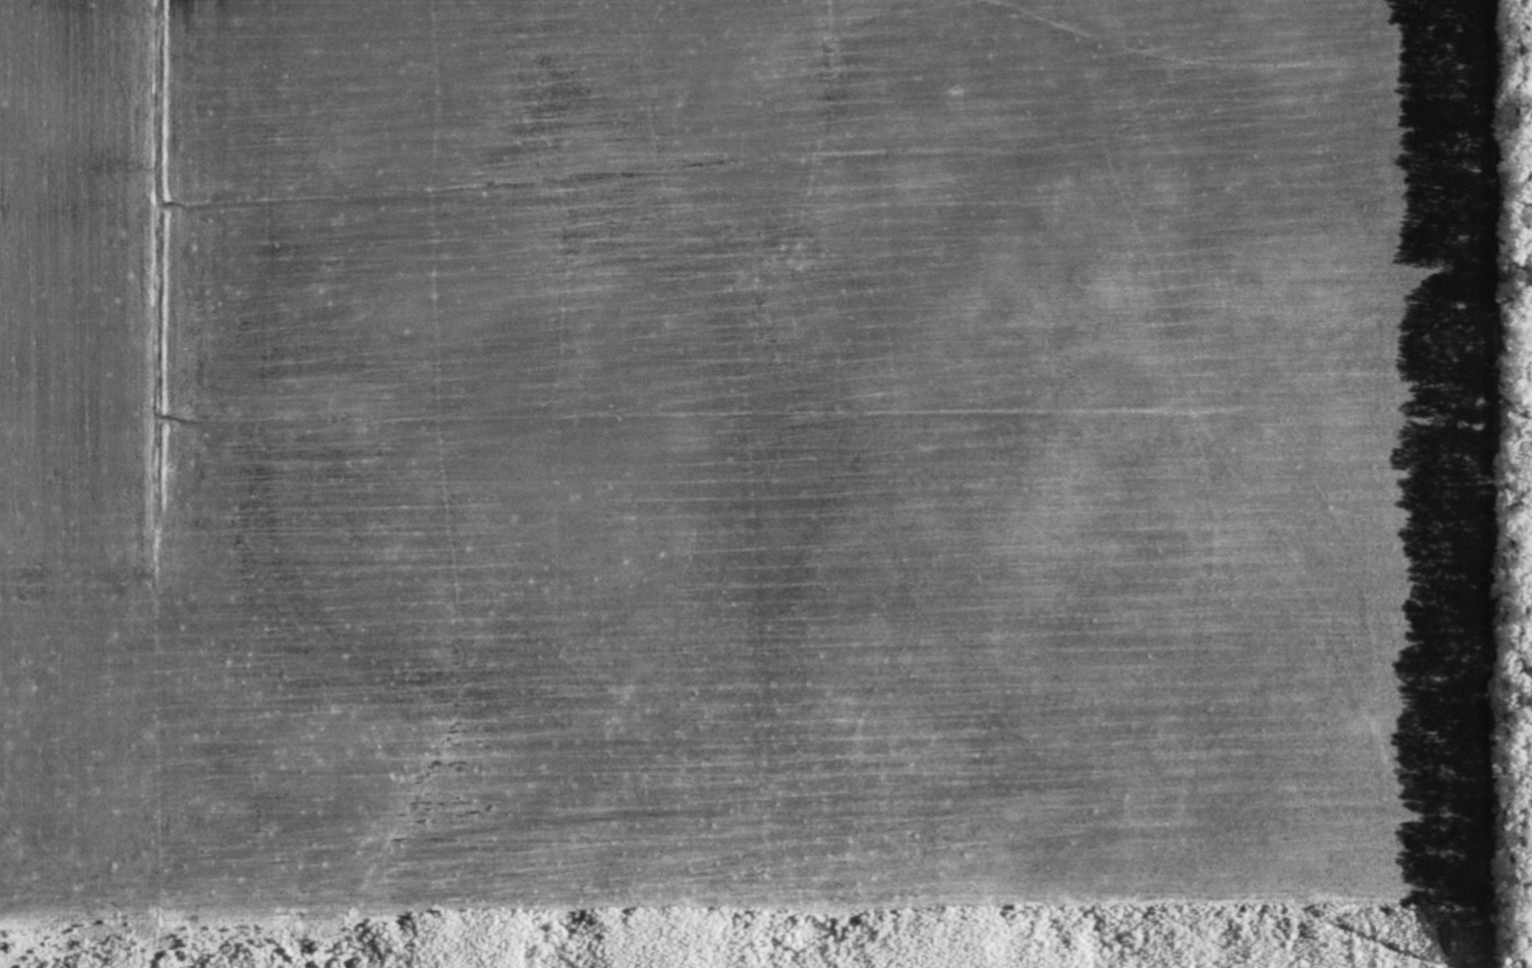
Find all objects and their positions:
park: (1514, 494)

